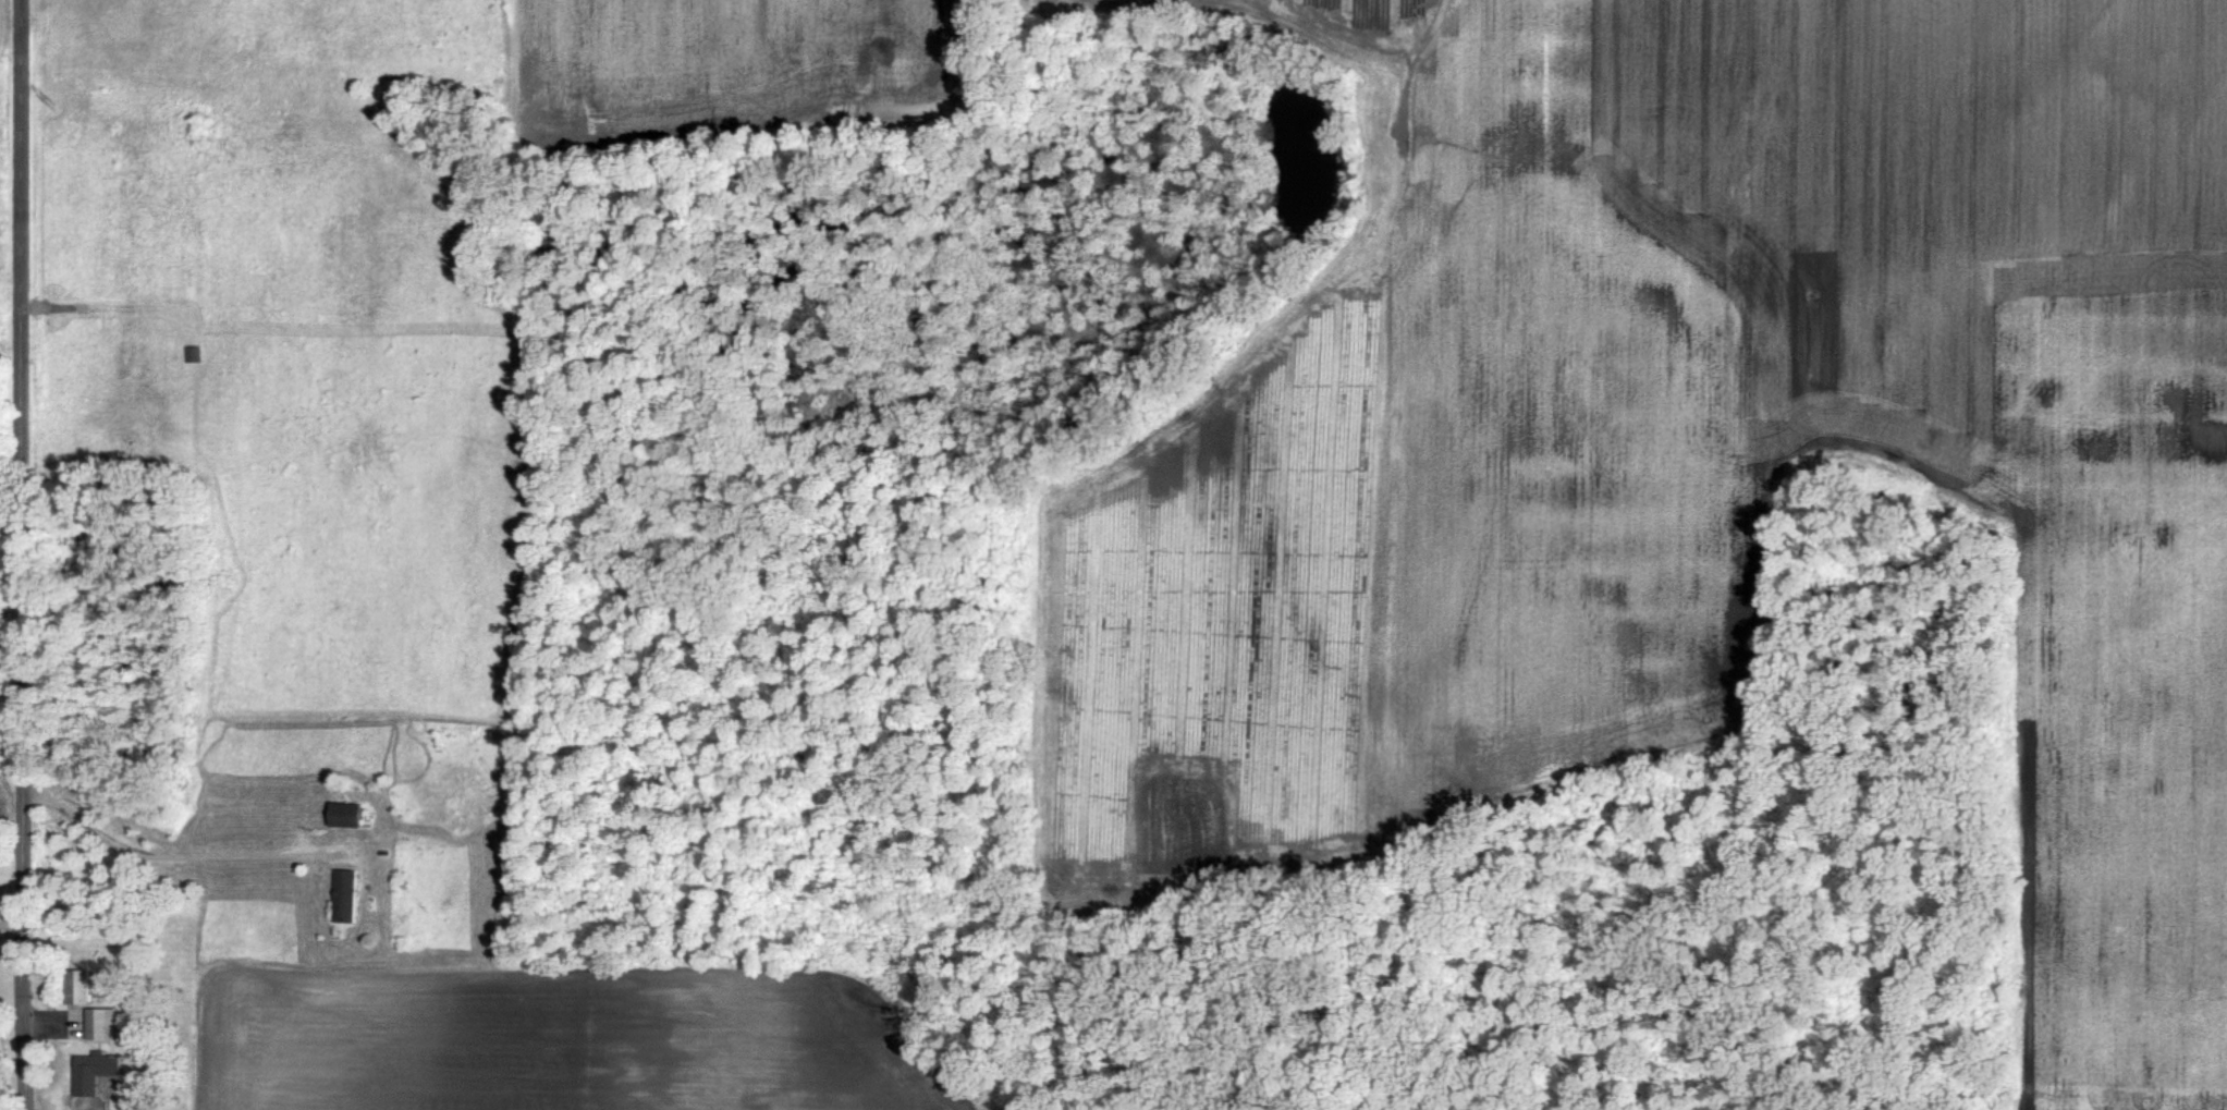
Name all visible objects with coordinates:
road: (23, 554)
road: (12, 700)
building: (345, 814)
road: (176, 855)
building: (343, 894)
building: (75, 987)
building: (98, 1022)
building: (91, 1071)

